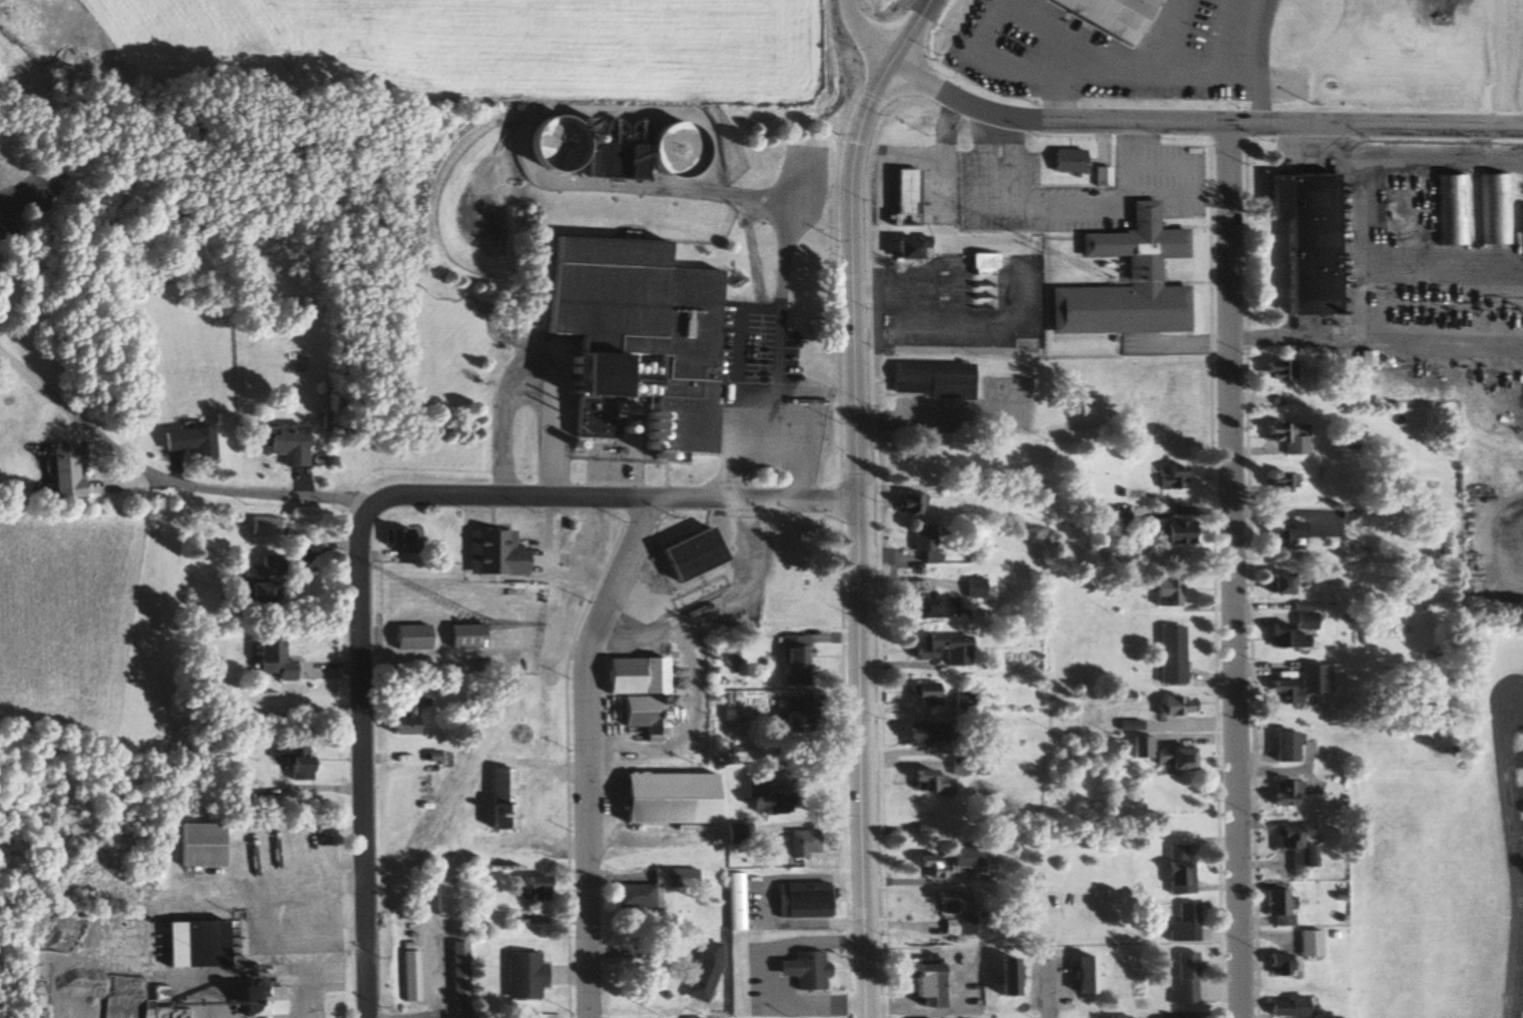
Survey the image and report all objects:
building: (1108, 15)
building: (1226, 24)
road: (867, 30)
road: (1505, 61)
building: (856, 115)
road: (1194, 116)
building: (542, 152)
building: (622, 161)
building: (1062, 161)
building: (1098, 176)
building: (900, 197)
building: (1494, 208)
building: (1451, 209)
building: (1520, 225)
building: (1298, 237)
building: (901, 249)
road: (1367, 260)
building: (979, 281)
building: (1122, 283)
road: (1375, 336)
building: (627, 343)
building: (1276, 371)
building: (927, 379)
building: (1284, 438)
building: (498, 440)
building: (185, 441)
building: (284, 444)
building: (538, 447)
building: (63, 473)
road: (165, 476)
building: (1168, 478)
building: (1278, 485)
road: (612, 500)
road: (858, 500)
building: (910, 505)
building: (262, 528)
building: (1169, 534)
building: (1281, 535)
building: (396, 538)
building: (922, 544)
building: (491, 554)
building: (685, 555)
road: (1230, 567)
building: (1281, 584)
building: (258, 587)
building: (971, 588)
building: (1163, 593)
building: (927, 608)
building: (1279, 635)
building: (463, 636)
building: (409, 638)
building: (936, 648)
building: (1167, 655)
building: (270, 661)
building: (789, 661)
building: (1309, 679)
building: (1280, 690)
building: (634, 692)
building: (921, 693)
building: (962, 698)
building: (1170, 706)
building: (791, 715)
building: (398, 717)
building: (952, 730)
building: (914, 733)
building: (514, 734)
building: (1280, 747)
road: (587, 752)
building: (1156, 754)
road: (368, 757)
building: (292, 760)
building: (925, 781)
building: (240, 783)
building: (1283, 792)
building: (663, 798)
building: (495, 799)
building: (760, 802)
building: (799, 843)
building: (196, 845)
building: (1291, 845)
road: (1518, 856)
building: (966, 858)
building: (928, 866)
building: (1176, 870)
building: (654, 887)
building: (532, 889)
building: (443, 898)
building: (796, 900)
building: (950, 901)
building: (733, 902)
building: (1275, 908)
building: (1181, 923)
building: (1307, 944)
building: (189, 945)
building: (1274, 966)
building: (799, 971)
building: (699, 973)
building: (409, 976)
building: (522, 976)
building: (1081, 976)
building: (459, 978)
building: (1002, 978)
building: (1181, 980)
building: (919, 982)
road: (1044, 996)
building: (1283, 1008)

